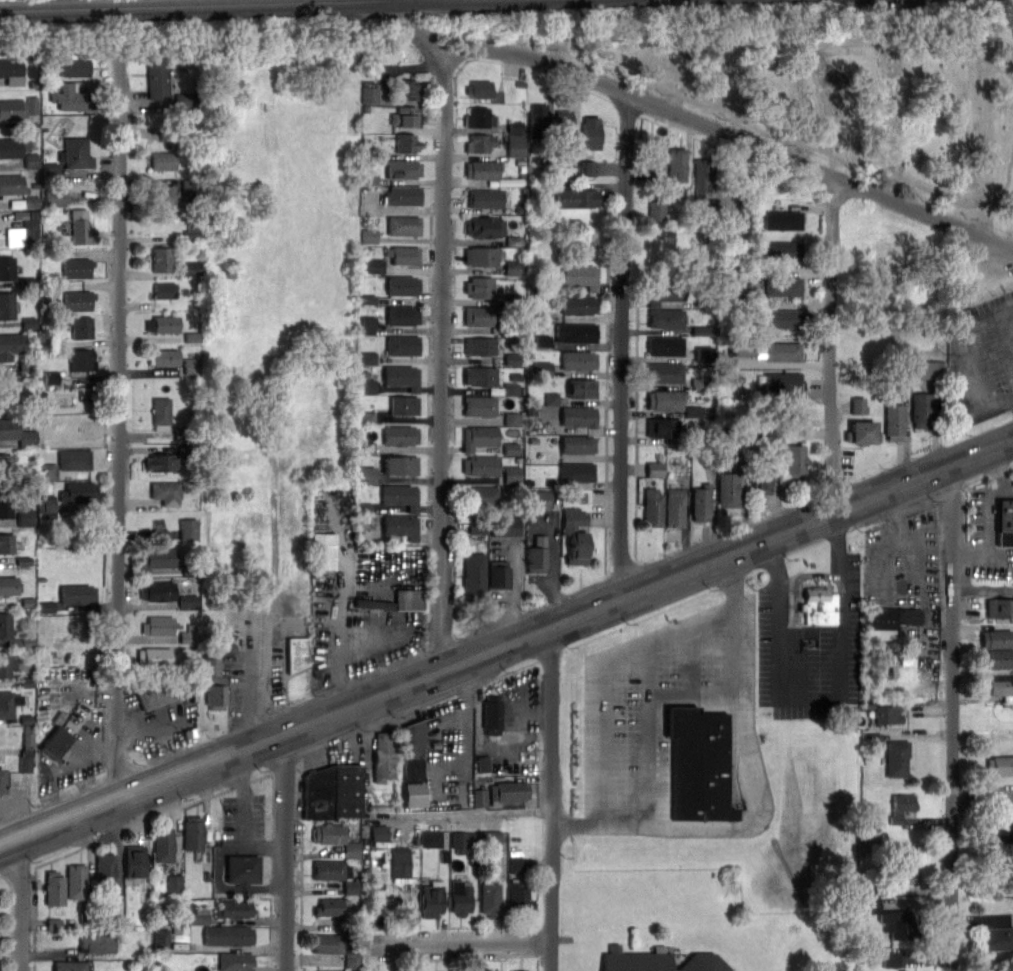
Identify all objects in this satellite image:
railway: (474, 2)
railway: (112, 3)
railway: (387, 4)
railway: (185, 10)
road: (917, 39)
road: (682, 43)
building: (75, 64)
building: (12, 70)
building: (158, 78)
road: (605, 82)
park: (854, 87)
building: (479, 88)
building: (408, 89)
building: (374, 92)
building: (70, 96)
building: (184, 101)
building: (13, 108)
building: (405, 116)
building: (479, 117)
building: (538, 117)
building: (563, 125)
building: (590, 132)
building: (406, 142)
building: (479, 142)
building: (516, 145)
building: (13, 146)
building: (655, 153)
building: (77, 154)
building: (163, 160)
building: (676, 164)
building: (588, 166)
building: (402, 168)
building: (480, 169)
building: (568, 170)
building: (702, 176)
building: (12, 184)
building: (188, 189)
road: (937, 192)
building: (162, 194)
building: (402, 195)
building: (55, 197)
building: (484, 198)
building: (578, 198)
building: (32, 201)
building: (657, 209)
road: (922, 212)
building: (783, 219)
building: (403, 224)
building: (484, 226)
building: (81, 227)
building: (30, 233)
building: (193, 233)
building: (370, 236)
building: (781, 250)
building: (403, 254)
building: (482, 256)
building: (161, 258)
building: (374, 266)
building: (77, 267)
building: (6, 268)
building: (192, 268)
building: (514, 268)
building: (577, 275)
building: (402, 284)
building: (479, 286)
building: (783, 286)
building: (165, 289)
building: (663, 292)
building: (78, 300)
building: (578, 303)
building: (6, 305)
road: (1005, 311)
building: (402, 315)
building: (480, 315)
building: (665, 318)
building: (783, 318)
building: (162, 324)
building: (371, 325)
building: (82, 327)
building: (704, 328)
building: (576, 332)
road: (1005, 333)
road: (625, 344)
building: (12, 345)
building: (403, 345)
building: (479, 345)
building: (664, 345)
road: (833, 345)
building: (744, 347)
building: (782, 351)
building: (705, 352)
building: (165, 357)
building: (369, 358)
road: (444, 358)
parking lot: (983, 358)
building: (81, 360)
building: (578, 360)
building: (191, 366)
building: (932, 368)
building: (544, 369)
road: (971, 369)
building: (664, 372)
building: (479, 375)
building: (401, 376)
building: (52, 377)
building: (697, 381)
building: (783, 381)
building: (368, 386)
building: (510, 388)
building: (581, 388)
road: (998, 398)
building: (552, 399)
building: (664, 399)
building: (859, 403)
building: (403, 404)
building: (479, 405)
building: (921, 409)
building: (161, 412)
building: (578, 415)
building: (512, 419)
building: (894, 420)
road: (119, 425)
building: (660, 427)
building: (8, 428)
building: (861, 431)
building: (399, 434)
building: (479, 437)
building: (577, 443)
building: (172, 458)
building: (74, 459)
building: (795, 461)
building: (400, 464)
building: (480, 465)
building: (5, 466)
building: (656, 468)
building: (576, 471)
building: (369, 474)
building: (513, 474)
building: (760, 477)
building: (727, 489)
building: (78, 492)
building: (166, 492)
road: (1008, 492)
building: (401, 495)
building: (479, 495)
building: (539, 500)
building: (701, 502)
building: (5, 505)
building: (652, 507)
building: (673, 507)
road: (990, 508)
building: (27, 517)
building: (1007, 522)
building: (400, 525)
building: (189, 529)
parking lot: (990, 530)
building: (575, 535)
building: (6, 543)
road: (915, 546)
building: (324, 549)
building: (536, 556)
building: (155, 559)
road: (971, 559)
road: (557, 563)
building: (498, 573)
building: (474, 577)
road: (517, 577)
road: (335, 578)
parking lot: (903, 582)
road: (880, 583)
building: (9, 586)
road: (982, 587)
building: (157, 591)
building: (78, 595)
building: (408, 600)
building: (189, 601)
building: (374, 603)
building: (819, 606)
building: (999, 607)
parking lot: (367, 611)
building: (891, 620)
building: (5, 626)
building: (159, 626)
building: (189, 634)
building: (996, 638)
parking lot: (810, 641)
road: (506, 644)
road: (928, 647)
building: (298, 652)
building: (153, 656)
road: (350, 657)
building: (998, 658)
parking lot: (284, 659)
building: (6, 664)
road: (278, 668)
parking lot: (244, 670)
road: (608, 673)
road: (246, 685)
building: (998, 685)
building: (214, 687)
building: (153, 694)
road: (824, 697)
building: (8, 703)
parking lot: (524, 705)
building: (492, 714)
building: (886, 714)
road: (522, 716)
road: (952, 717)
road: (154, 725)
parking lot: (160, 725)
parking lot: (675, 728)
road: (645, 732)
building: (873, 737)
road: (466, 739)
building: (55, 744)
building: (413, 752)
parking lot: (444, 754)
road: (79, 756)
parking lot: (75, 757)
building: (383, 757)
building: (896, 757)
building: (25, 762)
building: (484, 763)
building: (698, 763)
building: (999, 765)
building: (1, 780)
road: (758, 787)
building: (509, 790)
building: (332, 792)
building: (416, 794)
road: (983, 796)
building: (480, 798)
road: (553, 798)
road: (245, 799)
building: (900, 806)
road: (461, 816)
parking lot: (244, 817)
building: (1012, 818)
building: (1005, 831)
building: (380, 832)
building: (192, 833)
building: (328, 833)
building: (432, 838)
building: (475, 840)
building: (162, 844)
road: (289, 851)
building: (134, 860)
building: (400, 862)
building: (903, 863)
building: (517, 865)
road: (219, 869)
building: (242, 869)
building: (330, 869)
building: (105, 873)
building: (76, 881)
building: (175, 883)
building: (352, 887)
building: (54, 888)
building: (460, 897)
building: (518, 897)
building: (431, 898)
building: (490, 899)
road: (21, 905)
building: (331, 907)
building: (232, 910)
building: (199, 915)
building: (900, 923)
building: (228, 935)
building: (997, 937)
building: (161, 940)
building: (97, 943)
road: (461, 943)
building: (330, 944)
building: (891, 957)
building: (354, 960)
building: (657, 961)
building: (235, 962)
building: (69, 966)
building: (318, 970)
building: (521, 970)

